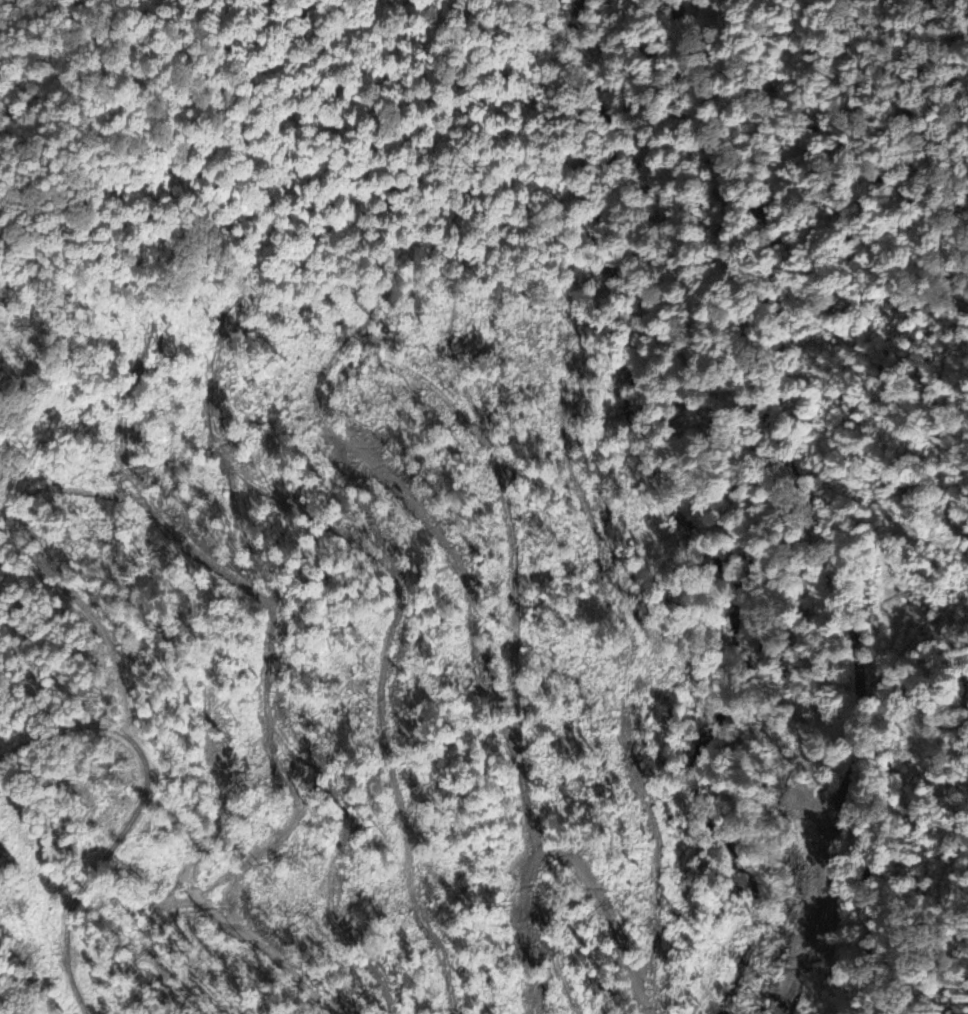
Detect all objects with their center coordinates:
road: (807, 501)

